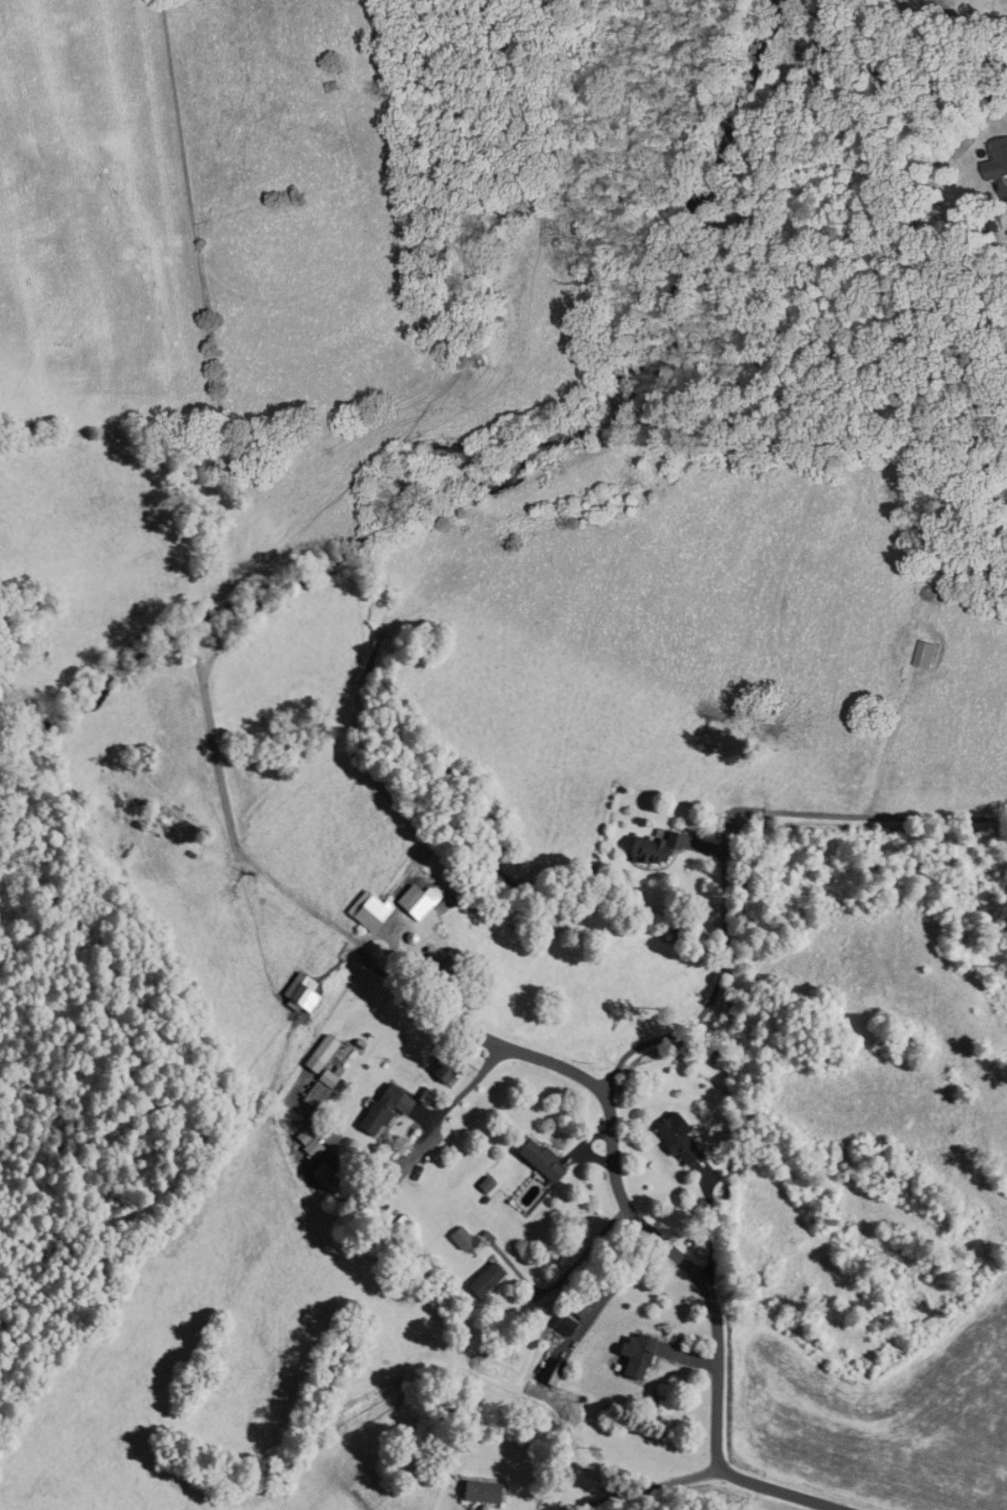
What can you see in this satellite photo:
building: (993, 160)
road: (1005, 197)
building: (918, 655)
building: (650, 846)
building: (411, 900)
building: (361, 909)
building: (295, 992)
road: (713, 992)
road: (484, 1039)
building: (438, 1067)
road: (469, 1085)
building: (309, 1094)
building: (374, 1108)
building: (671, 1139)
building: (535, 1158)
road: (697, 1273)
building: (481, 1278)
building: (562, 1324)
building: (631, 1354)
road: (639, 1489)
building: (475, 1491)
road: (785, 1491)

